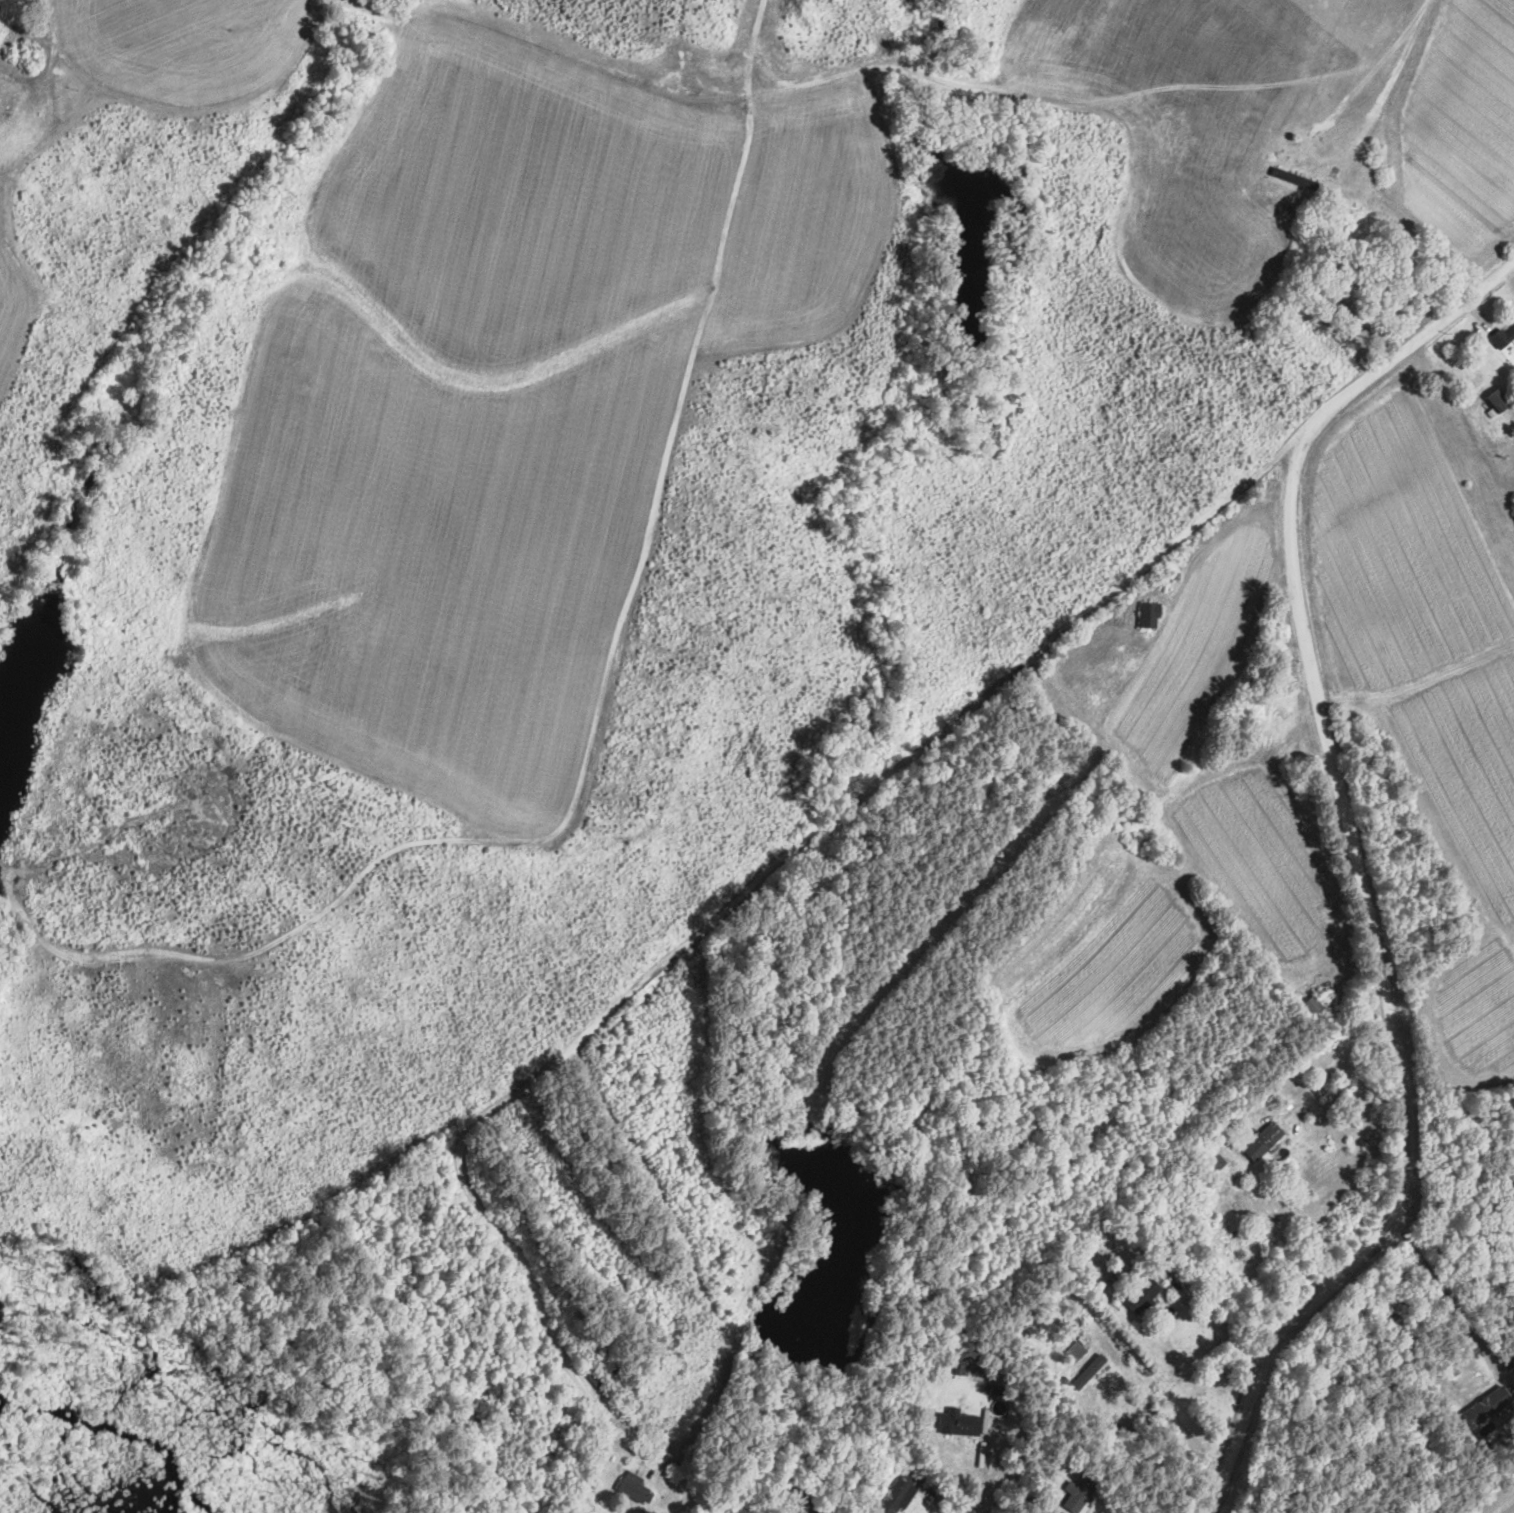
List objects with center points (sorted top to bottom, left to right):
road: (49, 35)
crop: (179, 35)
crop: (1179, 42)
road: (1, 45)
road: (524, 53)
road: (1360, 76)
road: (17, 79)
road: (1391, 81)
road: (181, 87)
road: (739, 90)
building: (1, 93)
road: (1026, 94)
road: (1357, 103)
building: (10, 107)
road: (36, 121)
crop: (1456, 137)
building: (1242, 145)
building: (1293, 177)
crop: (520, 197)
building: (1287, 208)
crop: (798, 226)
crop: (1189, 236)
road: (1509, 275)
building: (1345, 310)
road: (1479, 316)
crop: (7, 321)
building: (1502, 338)
building: (1498, 401)
crop: (440, 557)
road: (1185, 595)
building: (1149, 614)
crop: (1195, 657)
crop: (1423, 688)
road: (604, 711)
road: (888, 773)
building: (1040, 785)
crop: (1257, 858)
road: (1355, 867)
road: (1334, 883)
crop: (1060, 915)
crop: (1118, 976)
building: (1315, 1006)
road: (1333, 1063)
building: (1264, 1141)
road: (1355, 1155)
road: (1461, 1192)
building: (1227, 1213)
road: (1292, 1245)
building: (1154, 1252)
building: (1118, 1266)
road: (522, 1267)
building: (1109, 1279)
building: (1142, 1295)
road: (1449, 1302)
road: (1213, 1318)
building: (1076, 1351)
building: (606, 1358)
building: (614, 1366)
building: (1089, 1368)
building: (948, 1369)
building: (598, 1377)
building: (1487, 1404)
road: (1159, 1407)
building: (957, 1423)
building: (1487, 1428)
road: (655, 1429)
road: (619, 1442)
road: (980, 1461)
road: (591, 1470)
building: (633, 1487)
building: (898, 1491)
road: (981, 1494)
building: (1080, 1494)
road: (934, 1499)
crop: (1498, 1499)
road: (972, 1508)

